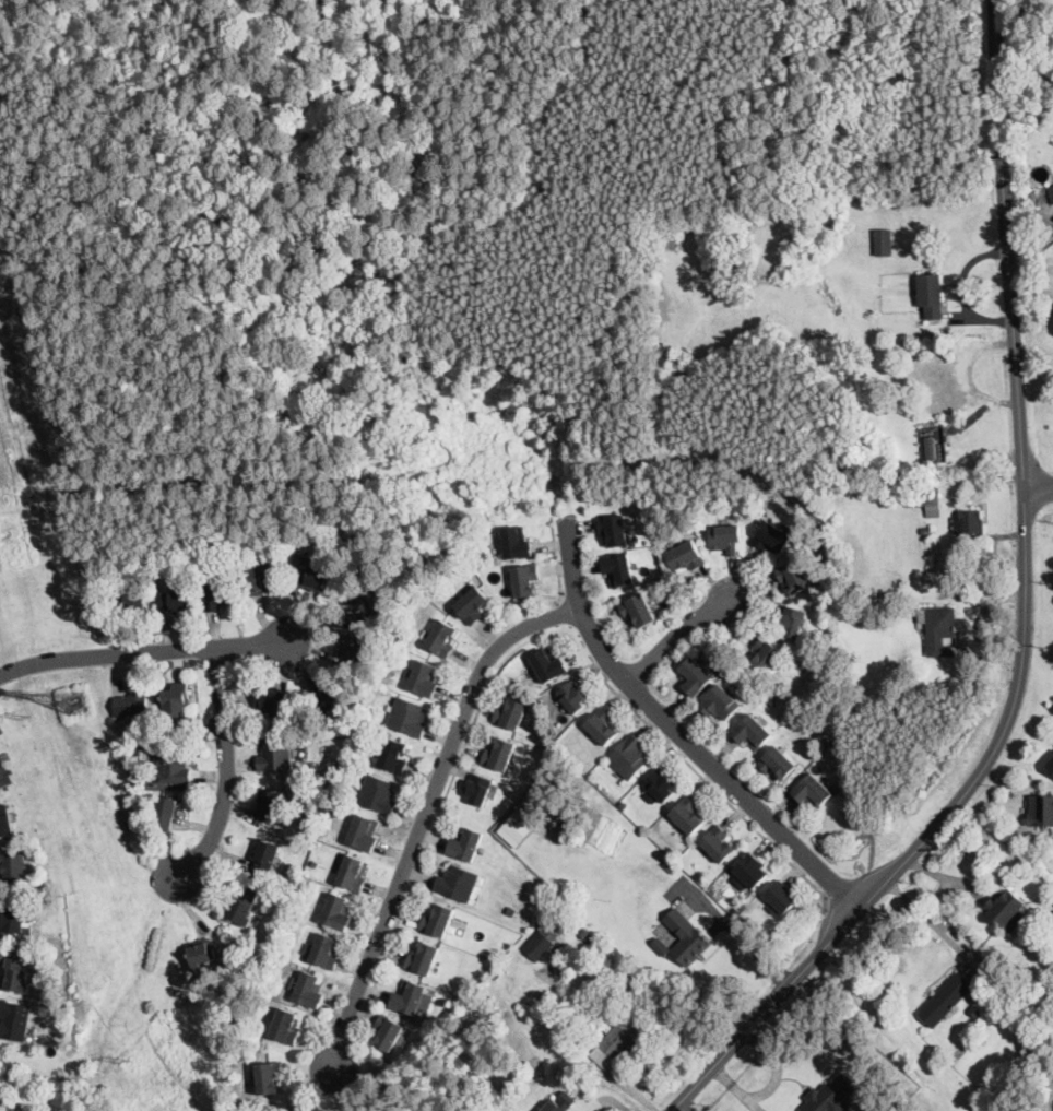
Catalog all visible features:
road: (187, 40)
building: (1037, 114)
building: (1031, 192)
building: (1052, 192)
road: (663, 200)
road: (486, 212)
building: (884, 243)
road: (1008, 243)
park: (441, 262)
building: (931, 296)
road: (445, 358)
building: (906, 380)
building: (938, 383)
building: (935, 444)
road: (1040, 486)
road: (34, 494)
building: (925, 503)
building: (971, 527)
building: (614, 530)
building: (927, 532)
building: (772, 537)
building: (726, 539)
building: (517, 543)
building: (201, 556)
building: (686, 556)
road: (557, 562)
building: (619, 570)
building: (313, 577)
building: (794, 577)
building: (262, 579)
building: (525, 580)
building: (218, 591)
building: (362, 599)
building: (889, 599)
building: (176, 601)
building: (130, 604)
building: (472, 605)
building: (638, 611)
road: (561, 614)
building: (793, 622)
building: (940, 630)
road: (676, 637)
building: (442, 638)
road: (528, 642)
building: (354, 651)
road: (145, 653)
building: (766, 655)
building: (548, 664)
building: (696, 676)
building: (424, 679)
building: (327, 698)
building: (573, 698)
building: (272, 699)
power tower: (71, 700)
building: (177, 700)
building: (720, 704)
building: (131, 705)
building: (1052, 708)
building: (512, 713)
power tower: (26, 716)
building: (409, 717)
road: (1008, 723)
building: (603, 726)
building: (162, 730)
road: (678, 733)
building: (753, 733)
building: (499, 755)
building: (394, 756)
building: (276, 757)
building: (629, 757)
building: (778, 763)
building: (1051, 765)
building: (174, 766)
building: (121, 768)
road: (228, 771)
building: (4, 775)
building: (323, 776)
building: (662, 785)
building: (478, 789)
building: (813, 791)
building: (379, 794)
building: (320, 800)
building: (623, 804)
building: (272, 805)
building: (166, 811)
building: (1041, 811)
building: (561, 812)
road: (426, 814)
building: (687, 816)
building: (5, 822)
building: (517, 826)
building: (364, 834)
building: (465, 844)
building: (719, 844)
building: (1037, 852)
building: (533, 853)
building: (265, 860)
building: (316, 862)
building: (670, 865)
building: (13, 866)
building: (752, 871)
building: (353, 874)
building: (458, 883)
building: (781, 897)
building: (244, 906)
building: (735, 909)
building: (1007, 910)
building: (338, 913)
building: (12, 915)
building: (438, 922)
road: (931, 922)
building: (584, 934)
road: (744, 937)
building: (687, 938)
building: (662, 944)
building: (539, 946)
building: (327, 952)
building: (201, 954)
building: (423, 959)
building: (496, 973)
building: (14, 974)
building: (309, 991)
building: (409, 998)
building: (946, 1000)
building: (974, 1008)
road: (766, 1009)
building: (15, 1020)
building: (286, 1028)
building: (388, 1033)
building: (618, 1039)
building: (960, 1052)
power tower: (126, 1060)
road: (776, 1066)
building: (270, 1078)
road: (736, 1088)
building: (831, 1096)
building: (455, 1098)
building: (561, 1102)
building: (294, 1110)

